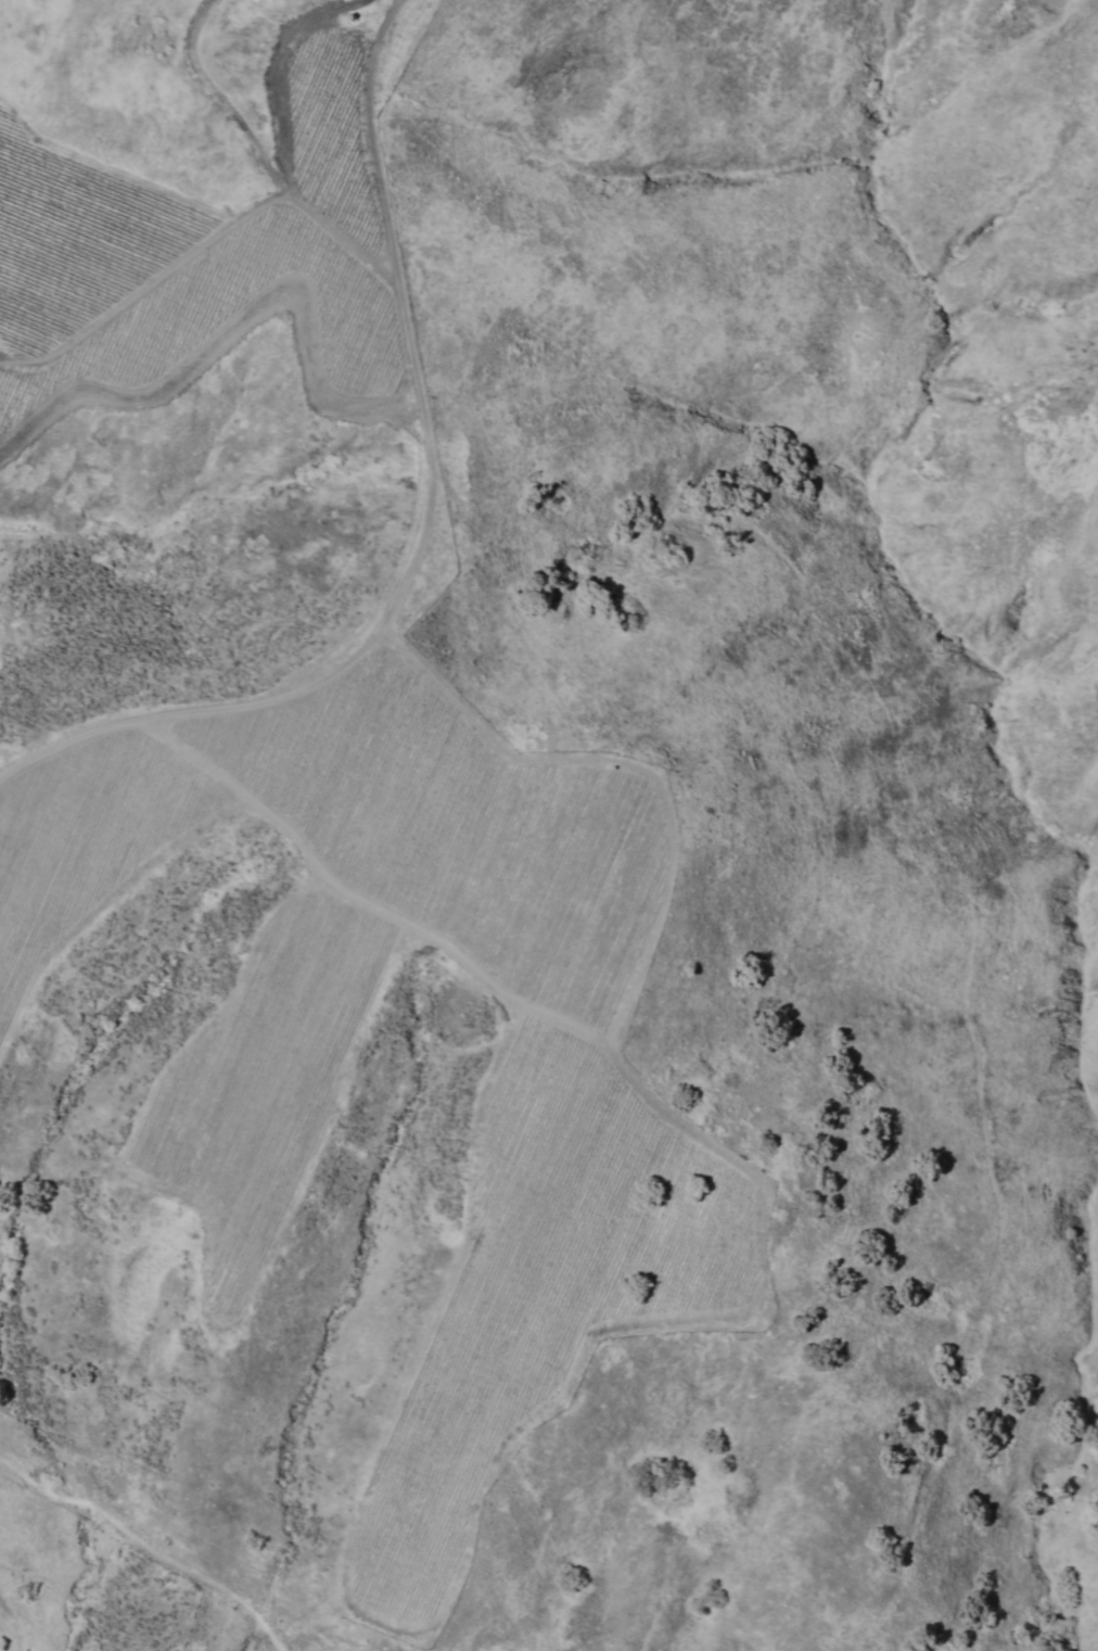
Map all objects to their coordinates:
crop: (203, 253)
road: (427, 526)
crop: (589, 1123)

